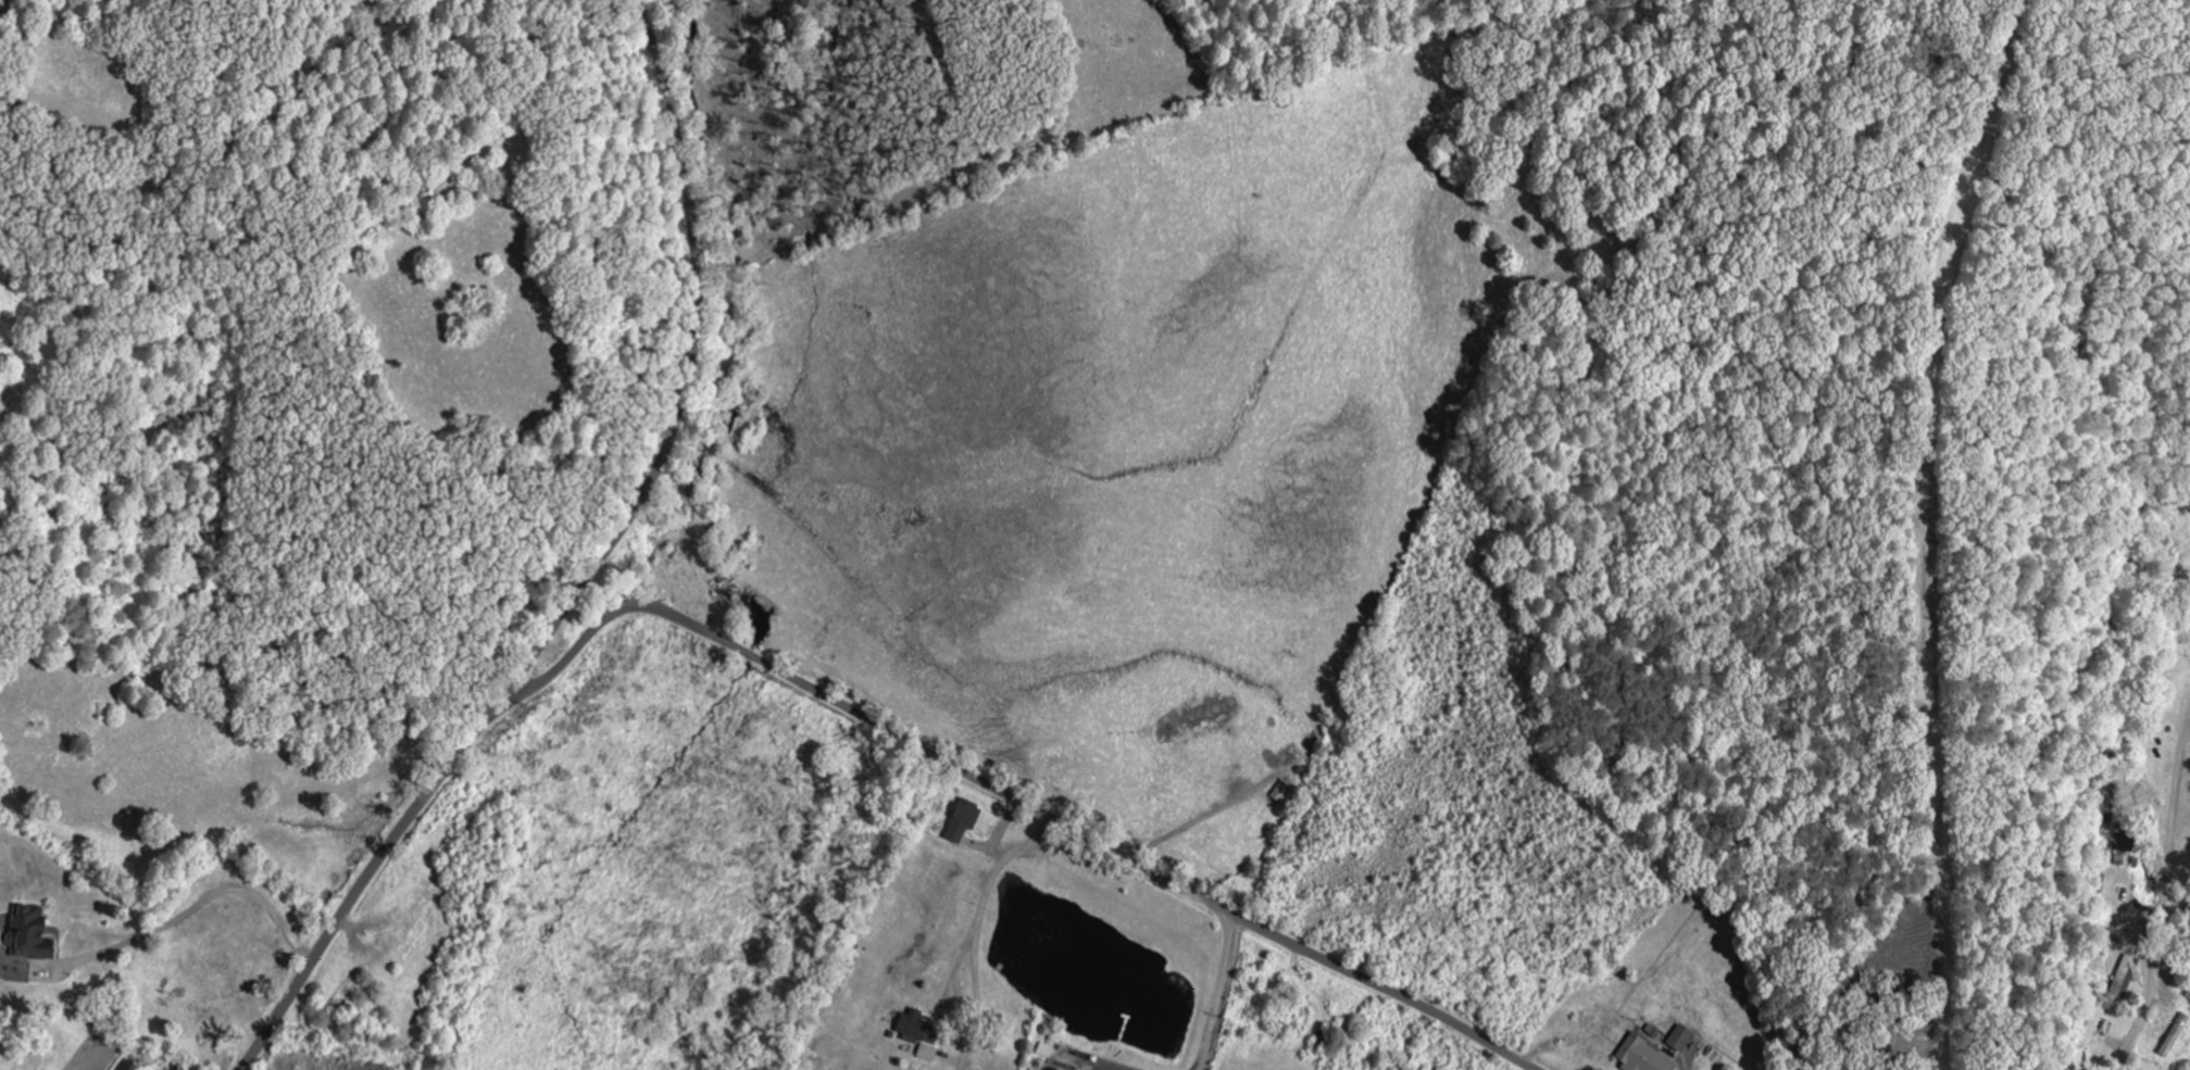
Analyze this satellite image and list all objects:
road: (690, 366)
road: (811, 688)
building: (1282, 792)
building: (963, 820)
building: (2126, 841)
building: (29, 935)
building: (2125, 979)
building: (913, 1027)
building: (1681, 1040)
building: (928, 1054)
building: (1643, 1057)
building: (176, 1069)

